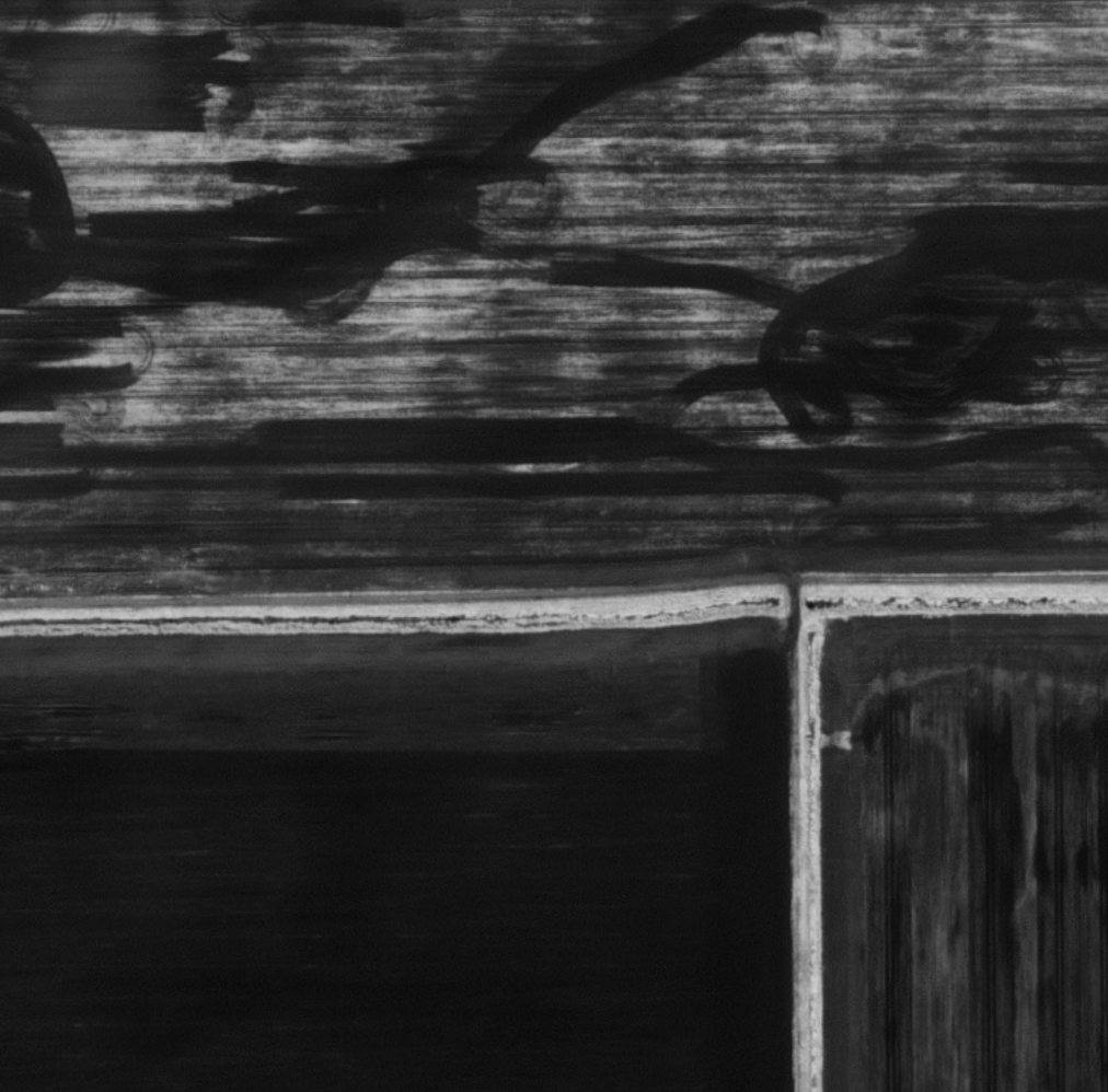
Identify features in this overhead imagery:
road: (554, 593)

